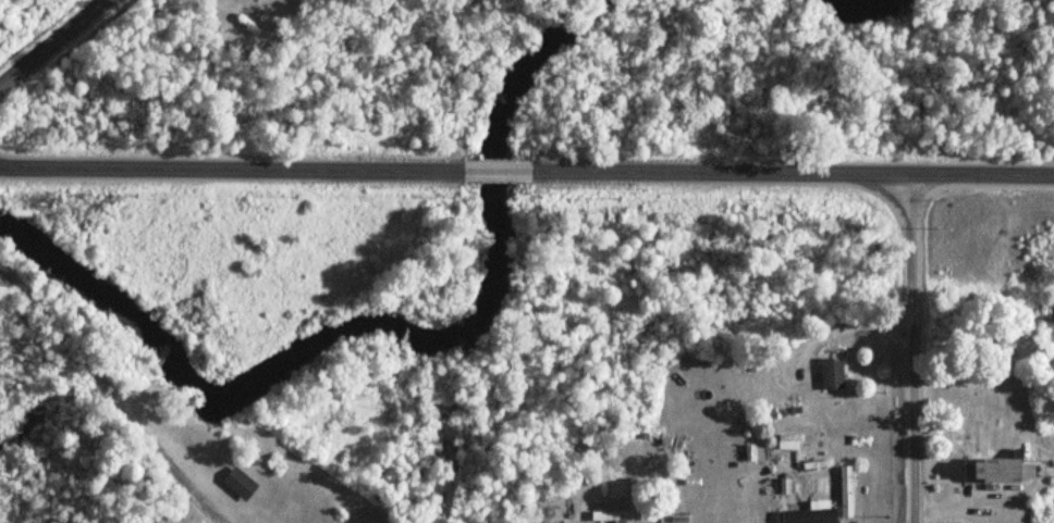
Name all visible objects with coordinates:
river: (867, 2)
road: (52, 43)
road: (234, 166)
road: (497, 171)
road: (788, 175)
road: (912, 251)
park: (191, 314)
river: (381, 319)
road: (839, 326)
building: (834, 373)
road: (112, 397)
road: (914, 424)
building: (1003, 471)
building: (242, 483)
building: (617, 516)

